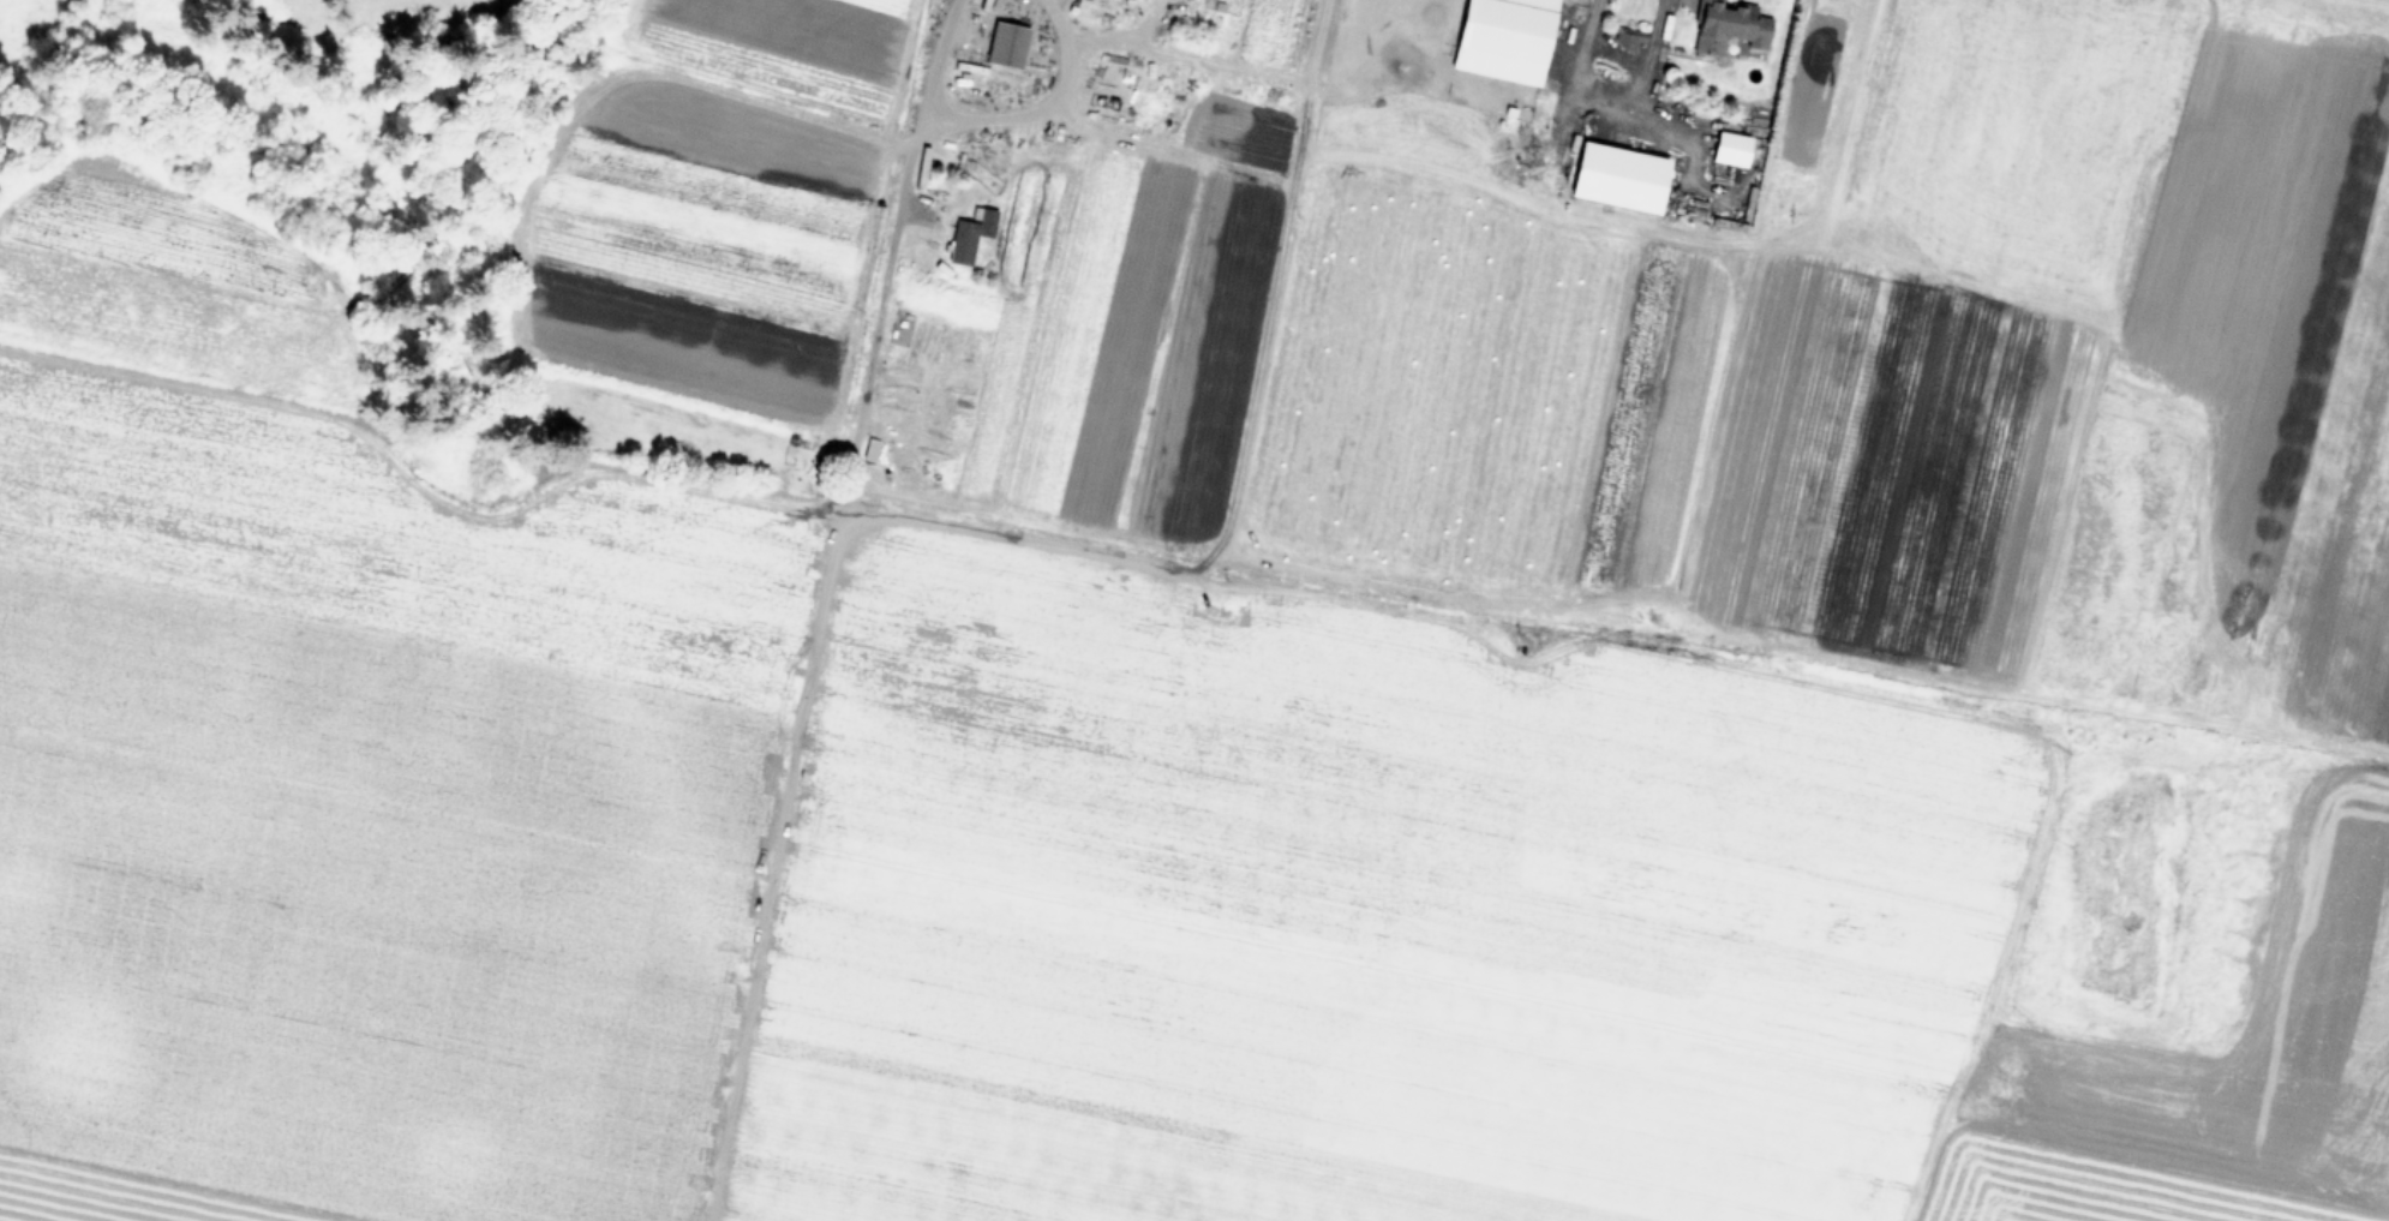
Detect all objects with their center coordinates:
crop: (381, 1)
building: (1730, 25)
building: (1504, 38)
building: (1630, 38)
building: (1006, 43)
road: (1319, 58)
road: (1606, 92)
road: (1041, 106)
road: (897, 217)
building: (970, 234)
crop: (1247, 638)

